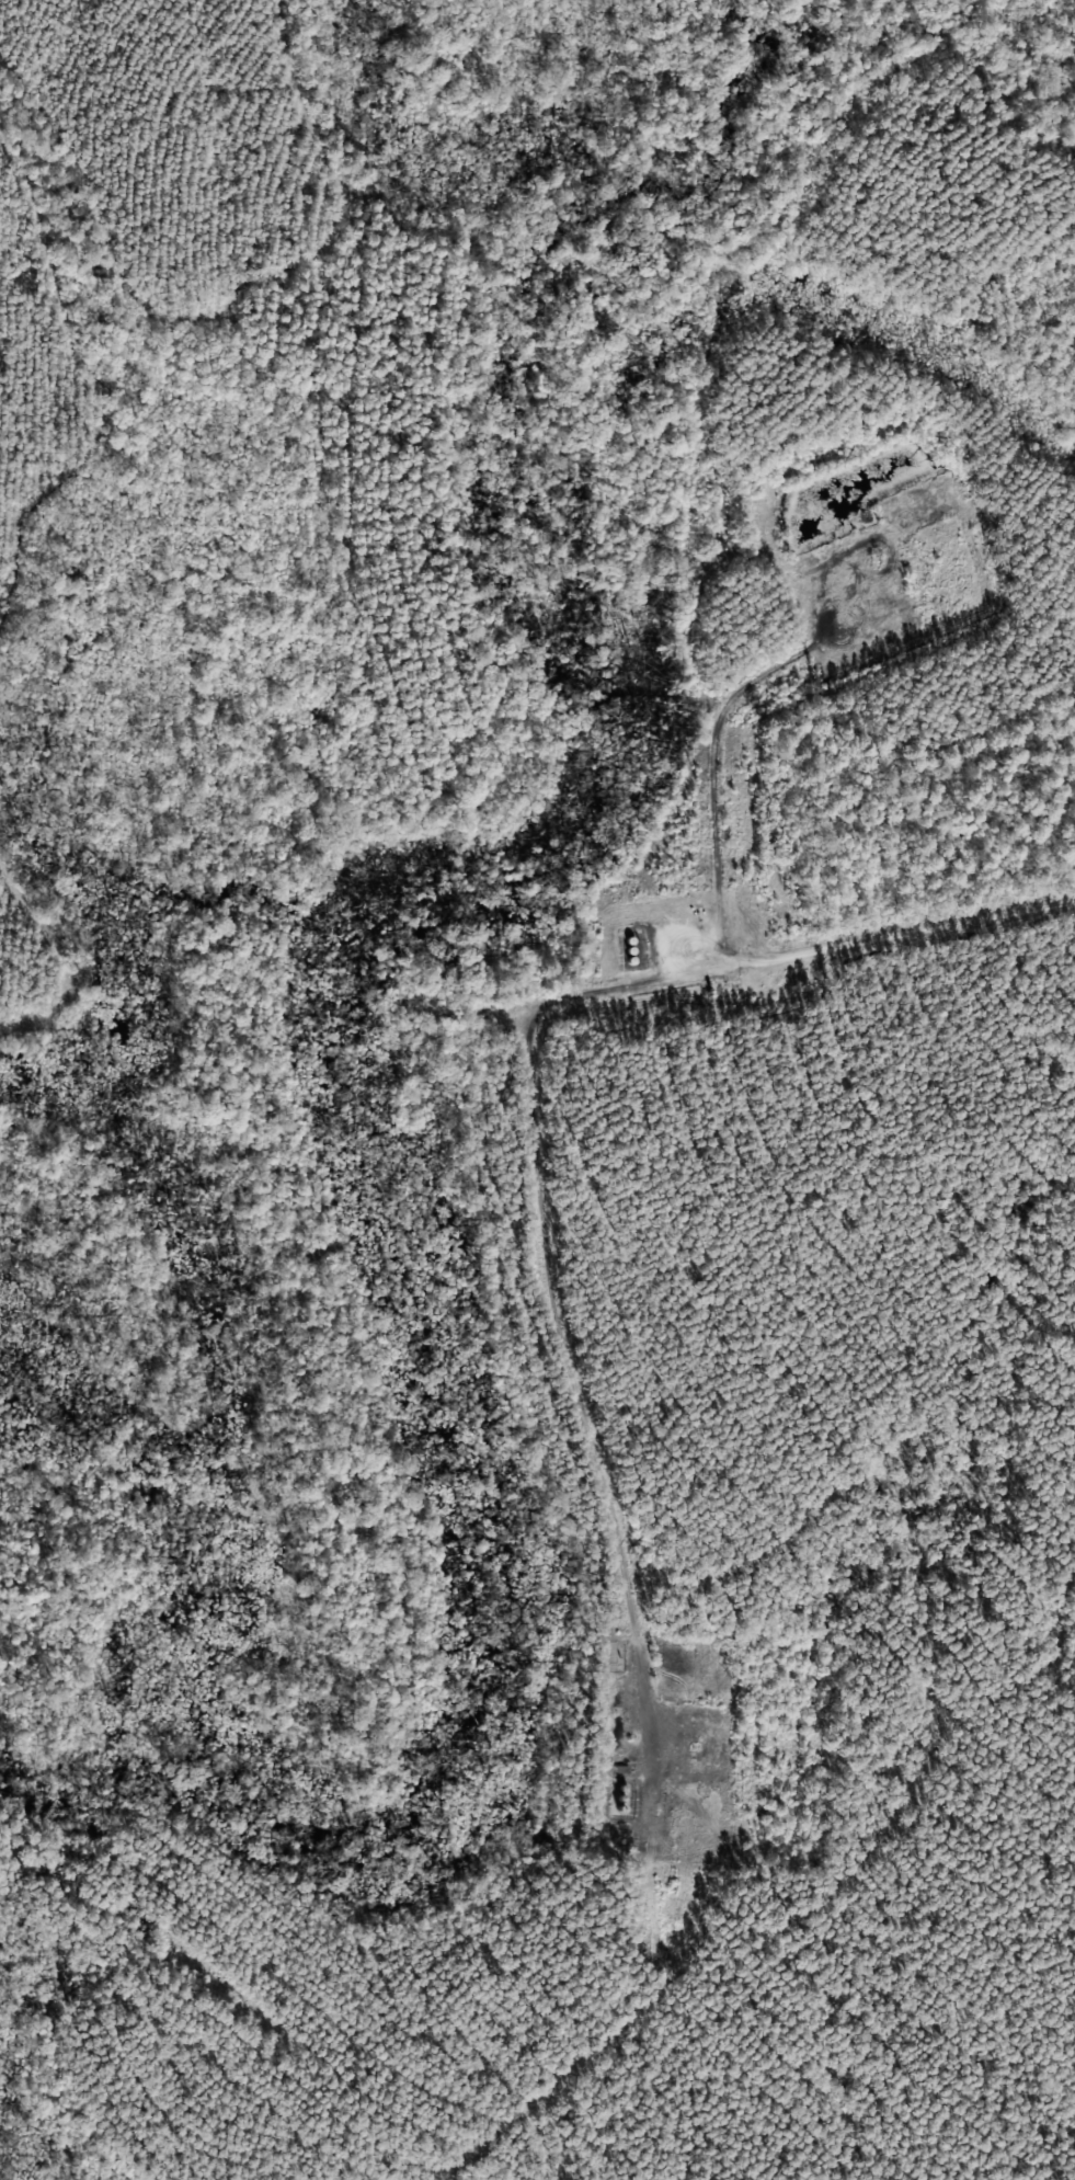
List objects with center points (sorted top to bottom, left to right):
road: (790, 945)

